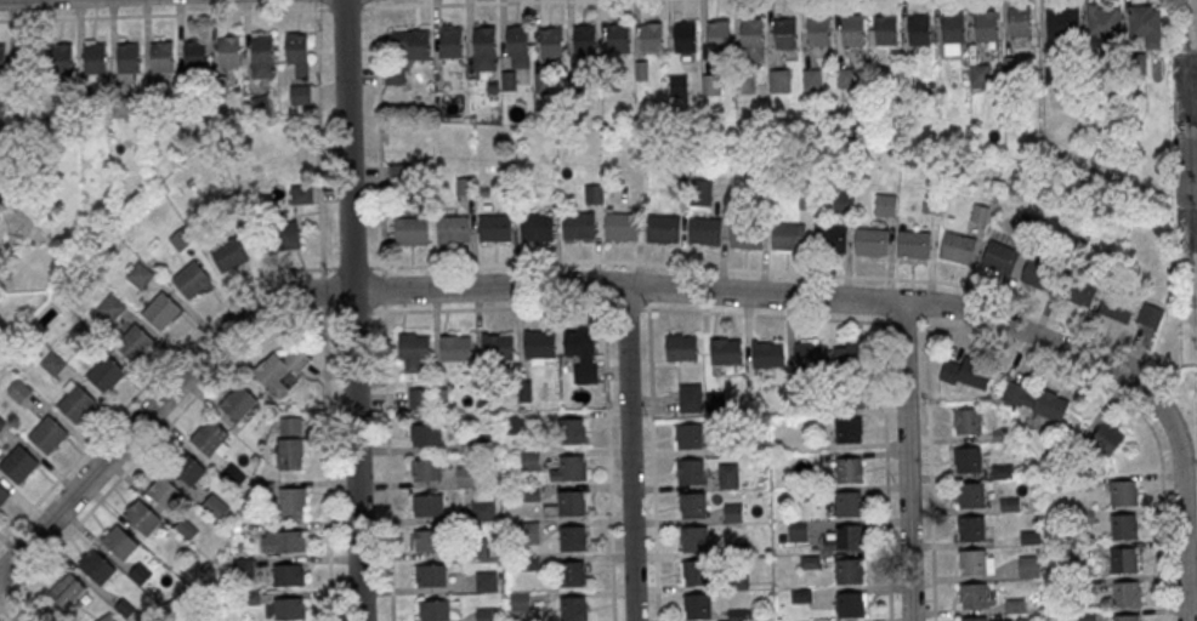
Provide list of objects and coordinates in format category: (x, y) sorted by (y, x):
road: (375, 2)
road: (450, 2)
road: (181, 13)
building: (1105, 18)
building: (1020, 19)
building: (1062, 19)
power substation: (1191, 22)
building: (1146, 23)
building: (986, 24)
building: (953, 27)
building: (886, 28)
building: (818, 29)
building: (852, 29)
building: (919, 29)
building: (753, 33)
building: (785, 33)
building: (719, 34)
building: (651, 35)
building: (686, 35)
building: (619, 38)
building: (584, 39)
building: (450, 40)
building: (412, 41)
building: (551, 41)
building: (517, 44)
building: (228, 50)
building: (484, 50)
building: (297, 52)
building: (262, 53)
building: (194, 55)
building: (95, 56)
building: (161, 56)
building: (61, 57)
building: (127, 57)
building: (4, 58)
building: (982, 75)
building: (845, 76)
building: (811, 79)
building: (779, 80)
parking lot: (1192, 87)
building: (300, 93)
building: (260, 102)
building: (121, 107)
road: (1189, 176)
building: (300, 193)
building: (594, 193)
building: (700, 193)
building: (844, 201)
building: (886, 204)
building: (578, 224)
building: (537, 226)
building: (622, 226)
building: (494, 227)
building: (453, 228)
building: (663, 228)
building: (412, 229)
building: (704, 230)
building: (747, 233)
building: (284, 235)
building: (789, 235)
building: (830, 238)
building: (872, 241)
building: (914, 244)
building: (958, 247)
building: (228, 252)
building: (999, 257)
road: (520, 261)
building: (1038, 273)
building: (138, 275)
building: (191, 278)
road: (537, 286)
building: (1080, 291)
building: (110, 307)
building: (1117, 307)
road: (353, 309)
road: (384, 309)
building: (161, 310)
building: (1150, 315)
road: (904, 324)
building: (81, 334)
building: (135, 342)
building: (578, 342)
building: (539, 343)
building: (413, 346)
building: (455, 347)
building: (497, 347)
building: (680, 347)
building: (725, 351)
building: (767, 353)
building: (809, 353)
building: (851, 354)
building: (52, 364)
building: (280, 369)
building: (106, 372)
building: (965, 372)
building: (18, 391)
building: (1019, 393)
building: (419, 397)
building: (690, 397)
road: (1131, 400)
building: (237, 401)
building: (76, 403)
building: (1049, 408)
building: (966, 420)
building: (1, 422)
building: (291, 425)
building: (515, 425)
building: (849, 428)
building: (571, 431)
building: (425, 433)
building: (47, 434)
building: (688, 435)
building: (211, 438)
building: (1106, 438)
road: (325, 444)
road: (629, 452)
building: (293, 454)
building: (966, 458)
road: (907, 461)
road: (608, 462)
building: (18, 463)
road: (653, 465)
road: (387, 466)
building: (186, 467)
building: (572, 467)
building: (426, 469)
building: (849, 469)
building: (690, 471)
road: (886, 471)
road: (931, 473)
building: (233, 474)
building: (467, 475)
building: (727, 475)
building: (164, 491)
building: (1123, 491)
building: (529, 492)
building: (4, 494)
building: (969, 494)
building: (293, 502)
building: (572, 502)
building: (849, 502)
building: (483, 503)
building: (427, 505)
building: (691, 505)
building: (215, 506)
road: (1181, 514)
building: (141, 515)
building: (1124, 525)
building: (970, 528)
building: (529, 532)
building: (572, 537)
building: (426, 539)
building: (693, 539)
building: (845, 539)
building: (284, 540)
building: (119, 541)
building: (1124, 560)
building: (972, 562)
building: (96, 565)
building: (243, 566)
building: (1029, 566)
building: (849, 571)
building: (572, 572)
building: (694, 572)
building: (140, 574)
building: (288, 574)
building: (431, 575)
building: (486, 580)
building: (67, 589)
building: (1127, 593)
building: (974, 594)
road: (41, 600)
building: (520, 602)
building: (850, 604)
building: (696, 605)
building: (289, 606)
building: (573, 608)
building: (438, 609)
road: (11, 610)
building: (486, 614)
building: (107, 617)
building: (1127, 617)
building: (975, 619)

